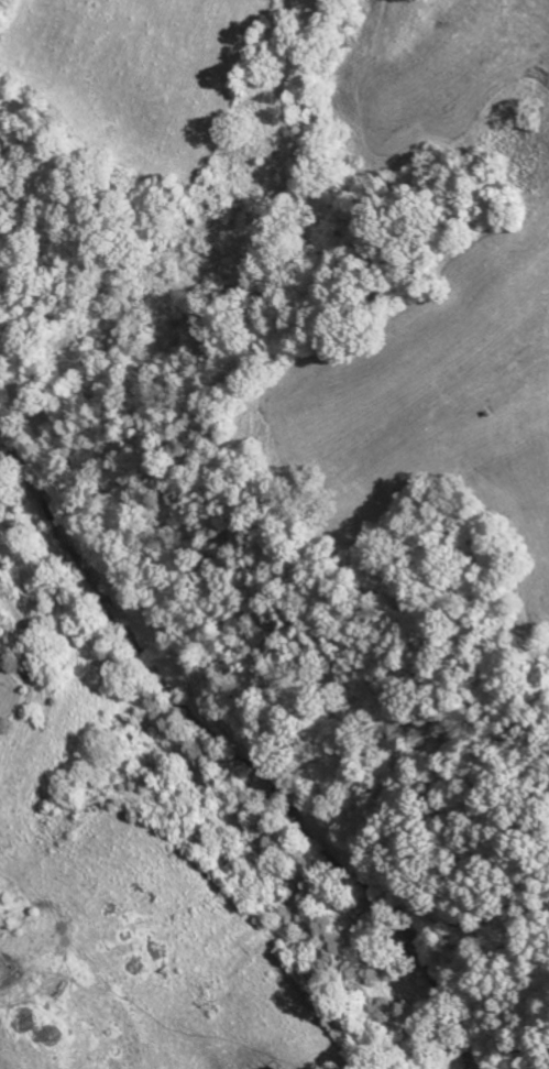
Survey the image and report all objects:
building: (8, 969)

